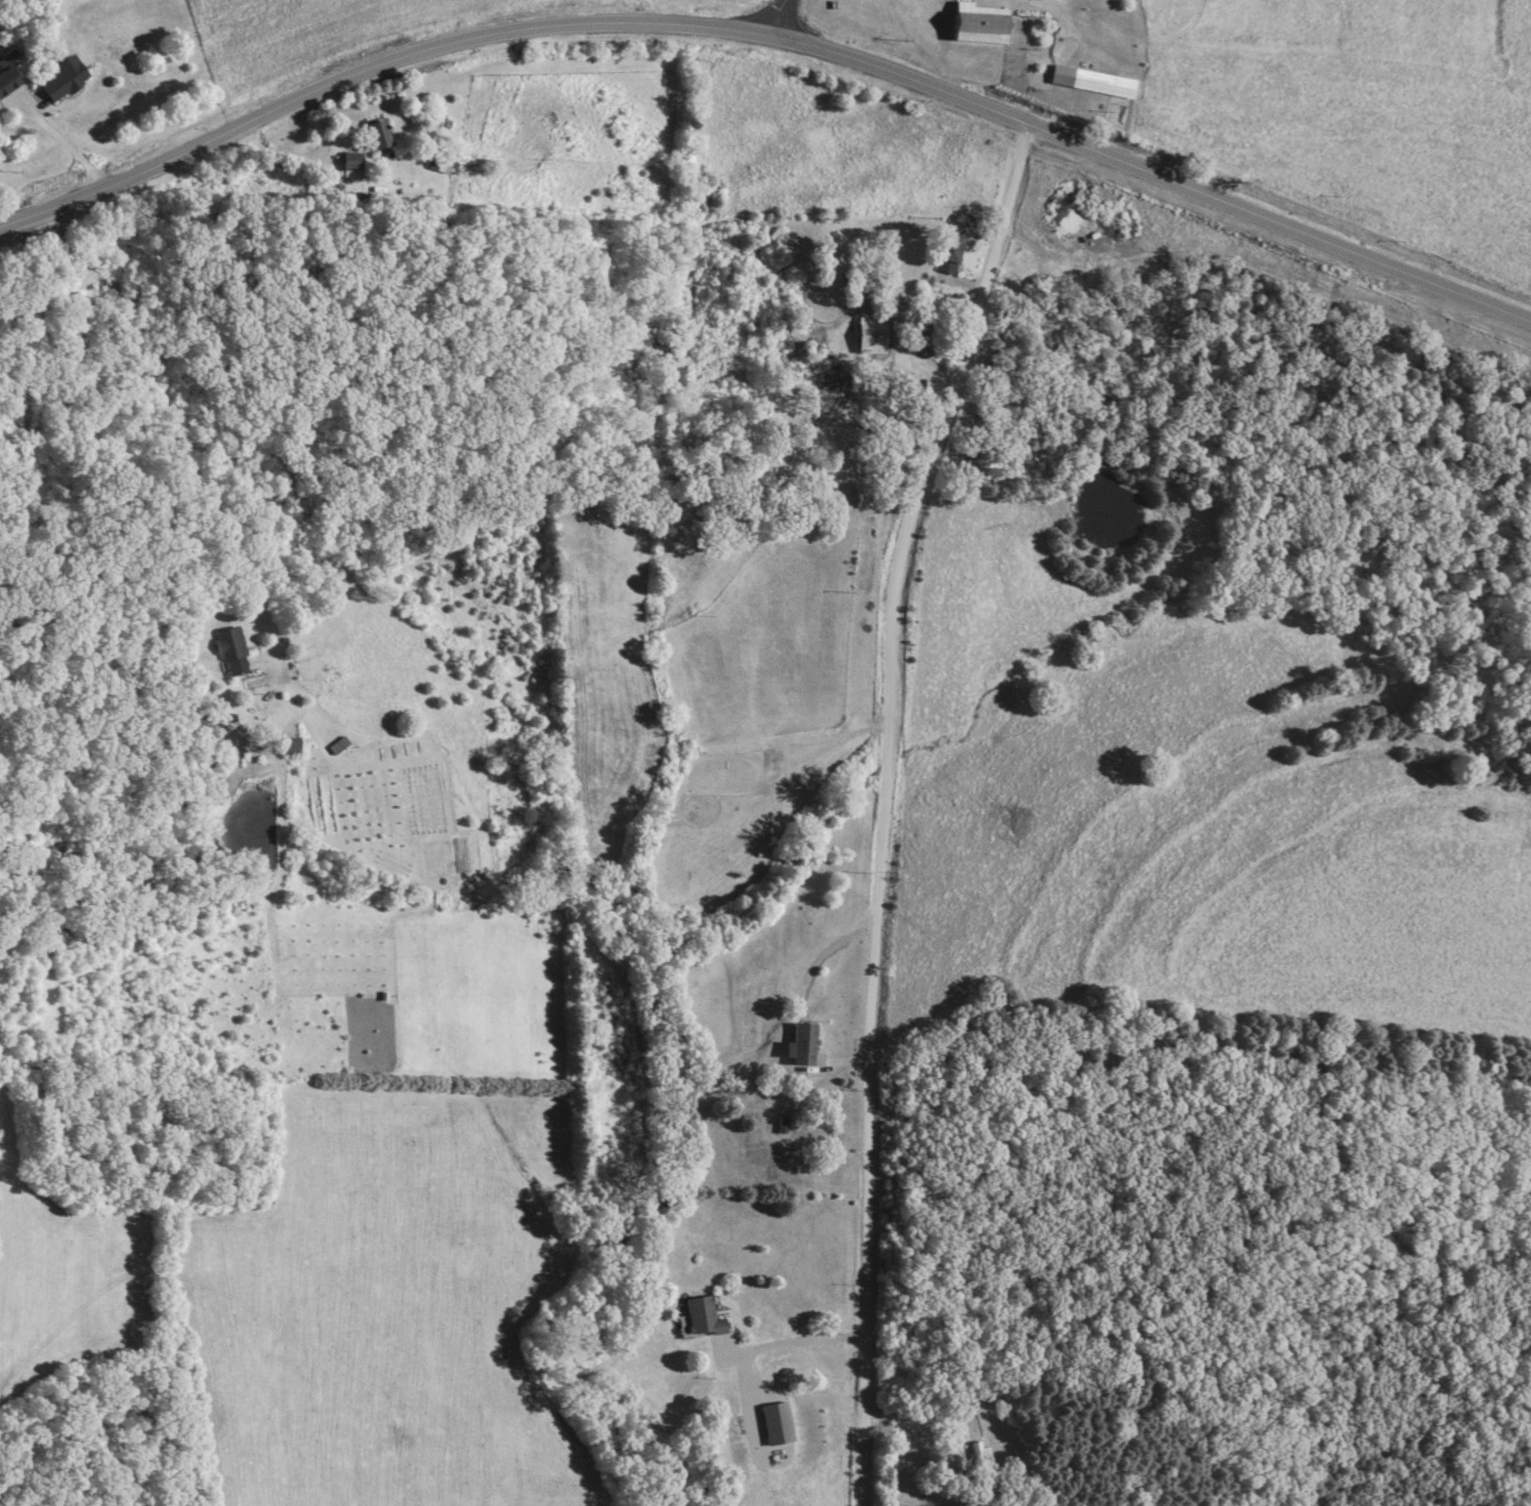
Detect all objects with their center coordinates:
road: (777, 19)
building: (968, 25)
road: (771, 38)
road: (1011, 77)
building: (69, 80)
building: (11, 82)
building: (1084, 83)
building: (385, 137)
road: (60, 143)
building: (444, 162)
building: (356, 166)
building: (944, 255)
building: (866, 340)
road: (166, 425)
building: (235, 653)
building: (294, 747)
building: (342, 747)
road: (877, 805)
building: (603, 870)
building: (807, 1047)
building: (706, 1318)
road: (787, 1343)
building: (779, 1424)
building: (976, 1455)

